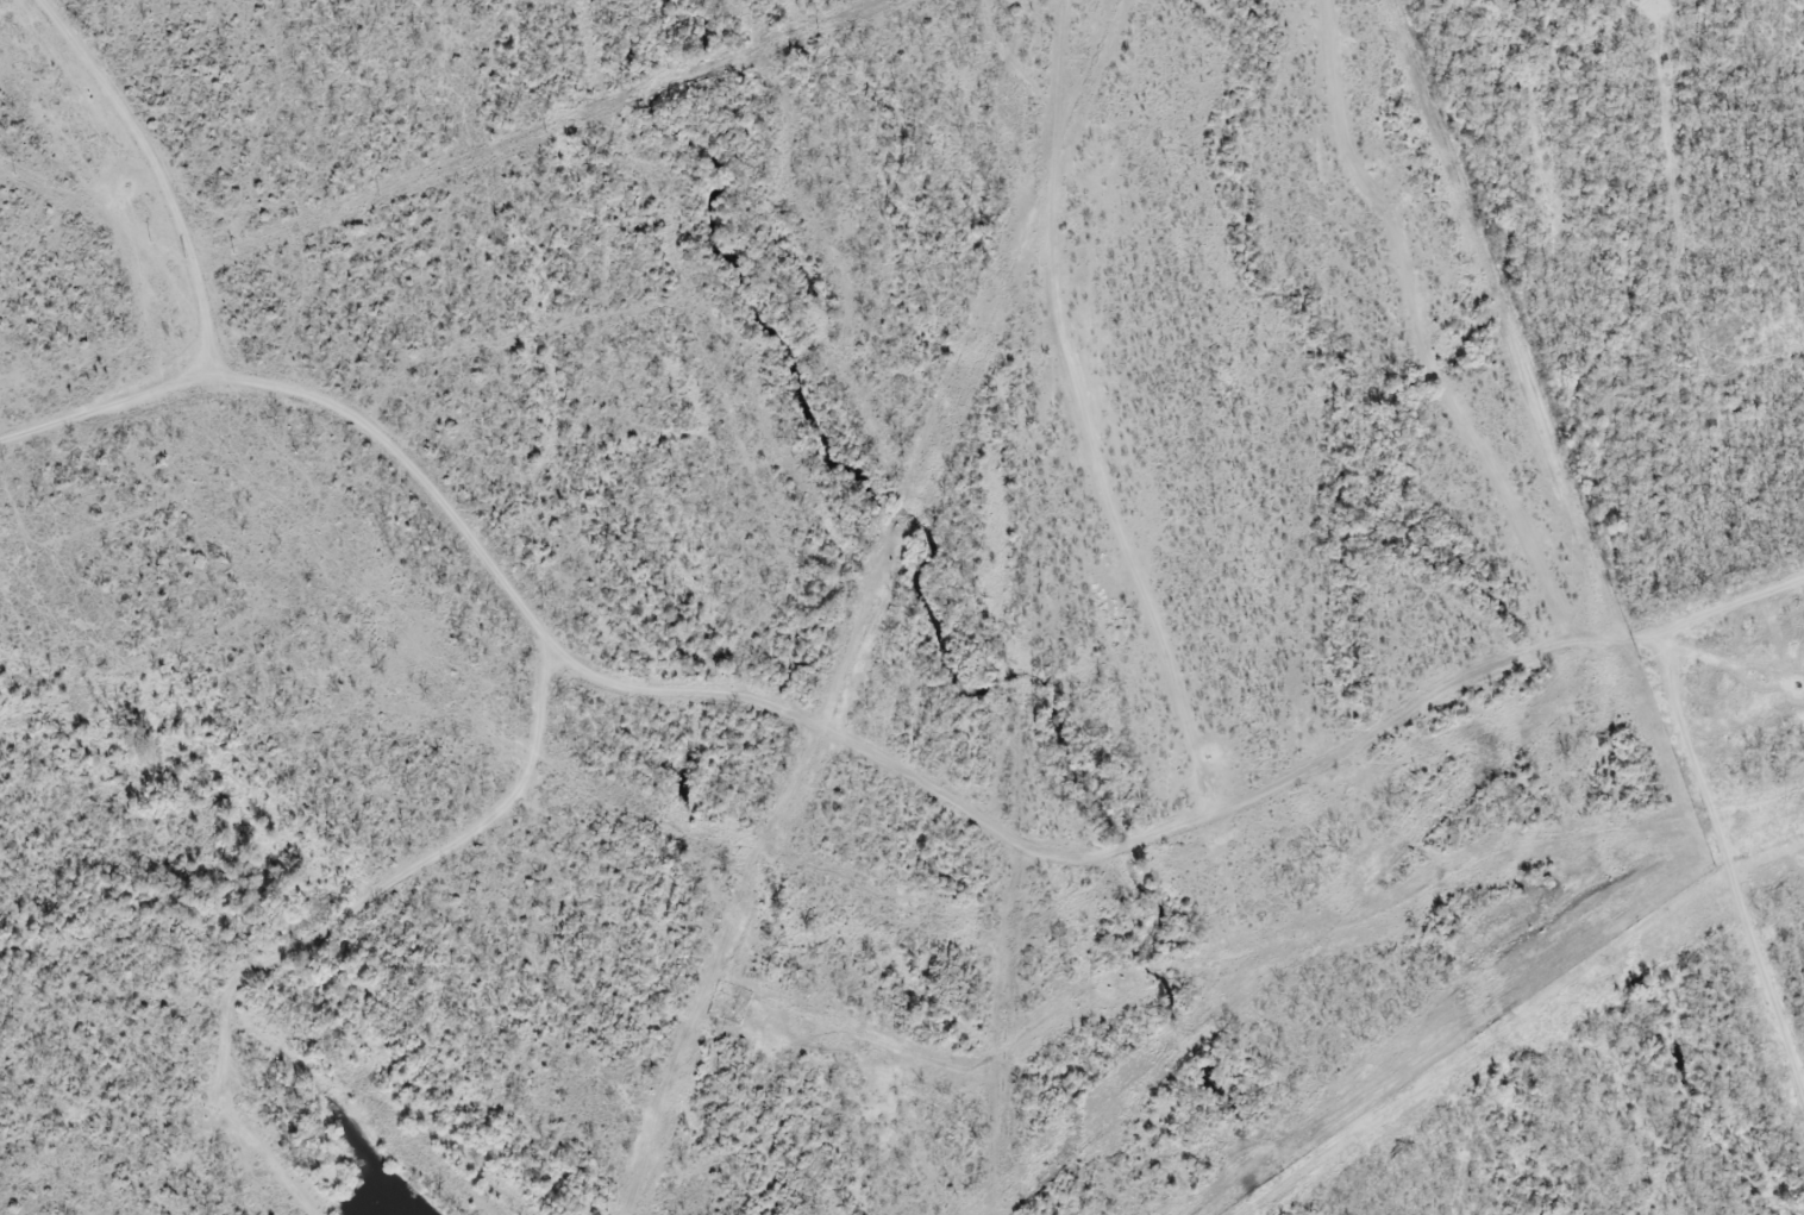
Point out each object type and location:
road: (343, 459)

